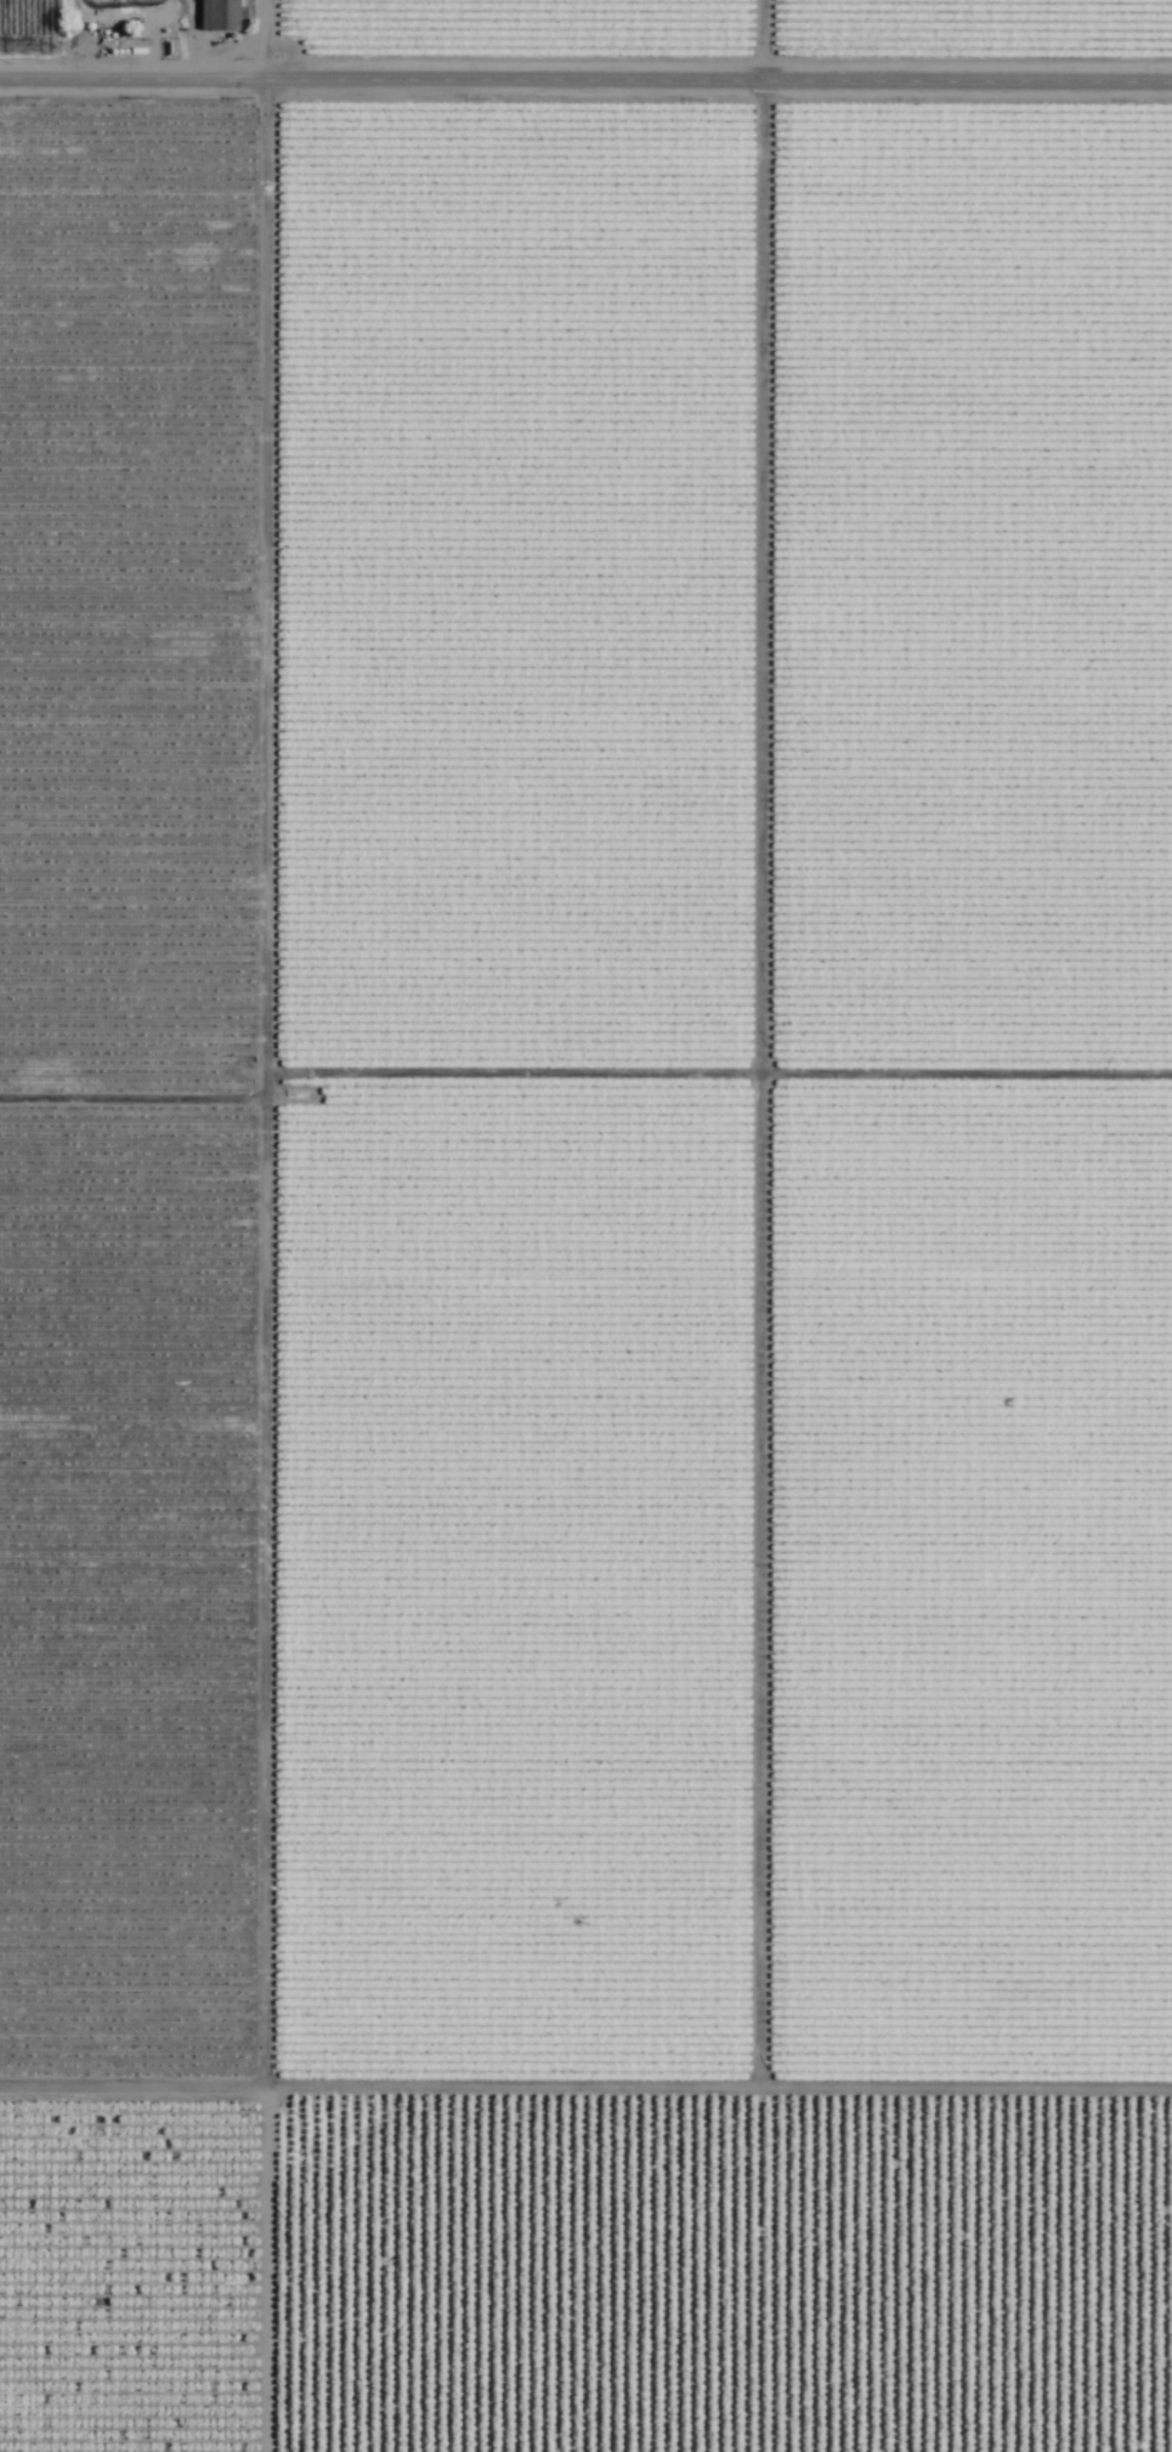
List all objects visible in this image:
building: (219, 16)
wastewater plant: (101, 23)
road: (585, 86)
road: (273, 1225)
crop: (585, 1225)
road: (585, 2118)

